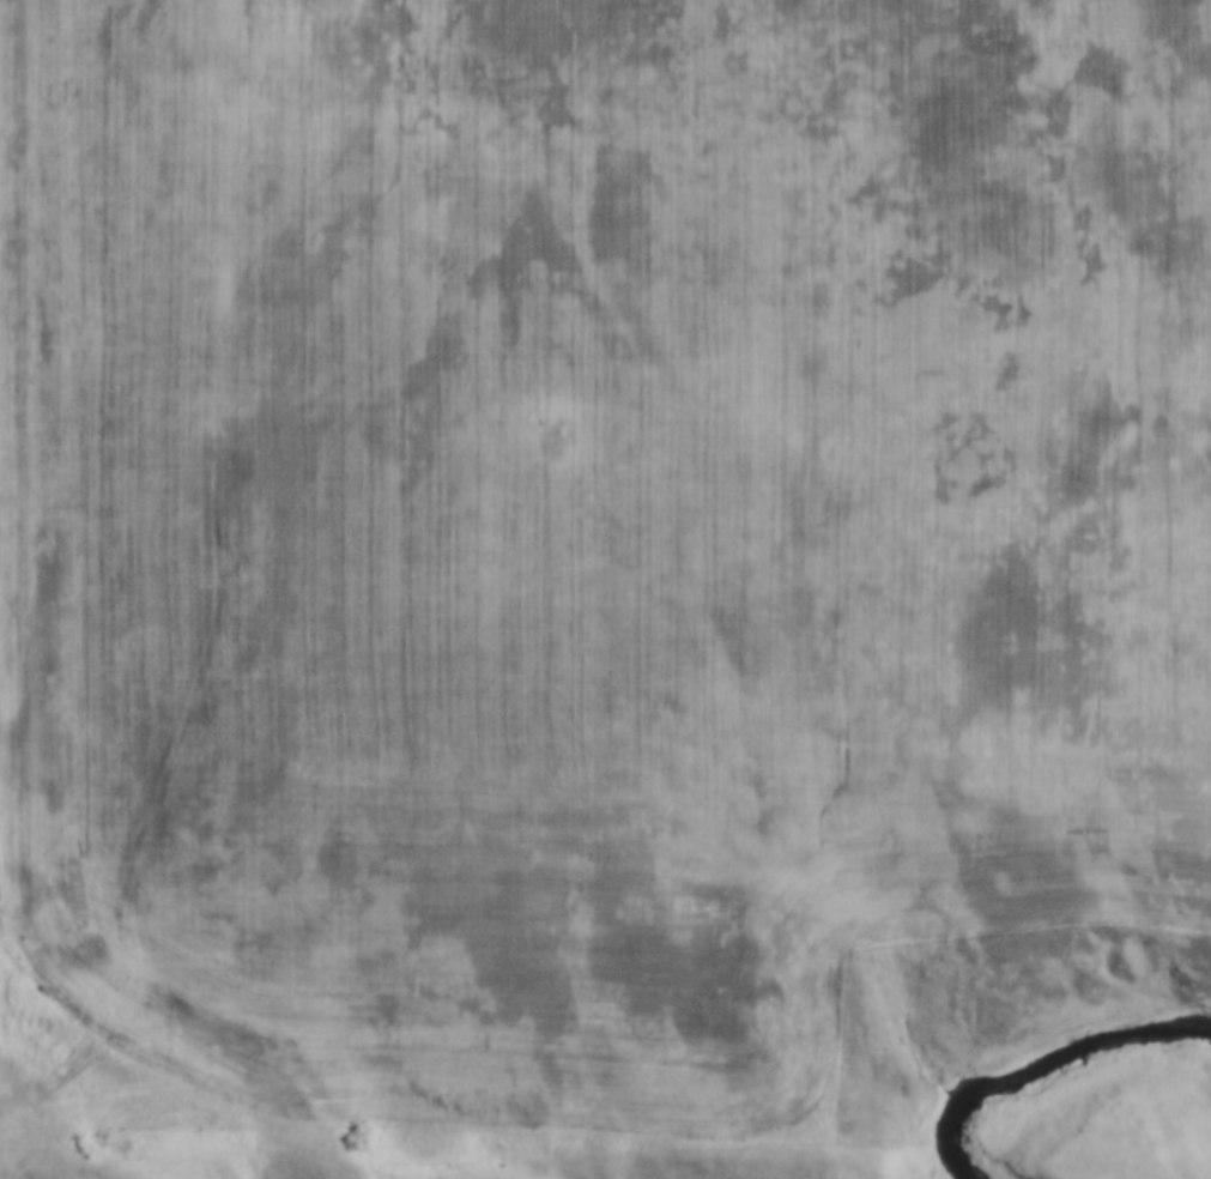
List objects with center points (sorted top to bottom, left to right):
crop: (587, 521)
road: (52, 1083)

